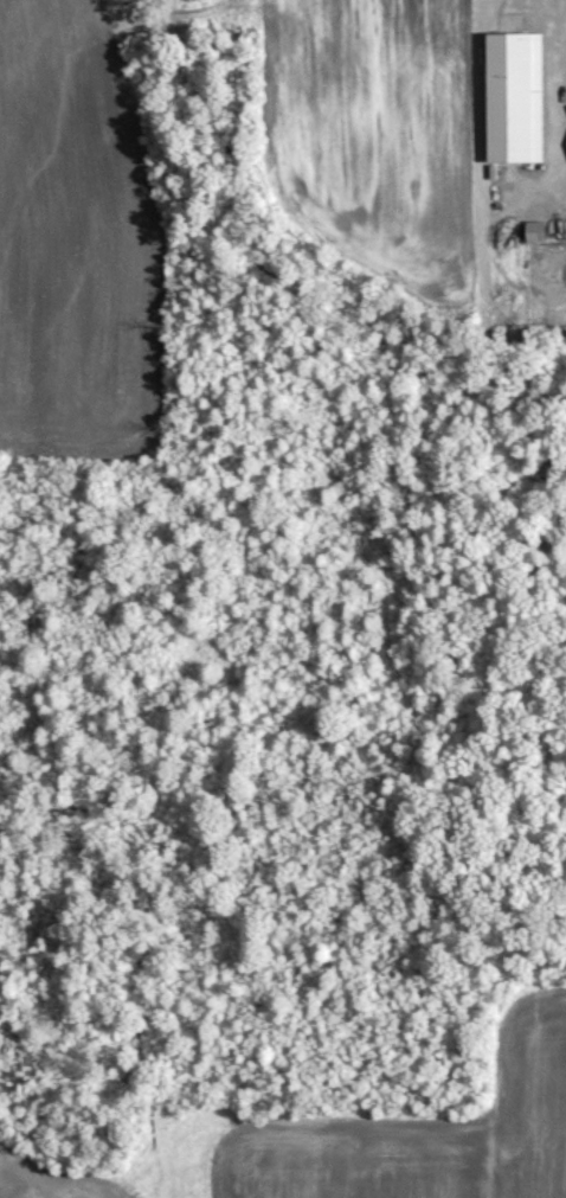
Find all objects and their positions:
road: (560, 49)
building: (513, 94)
building: (534, 228)

